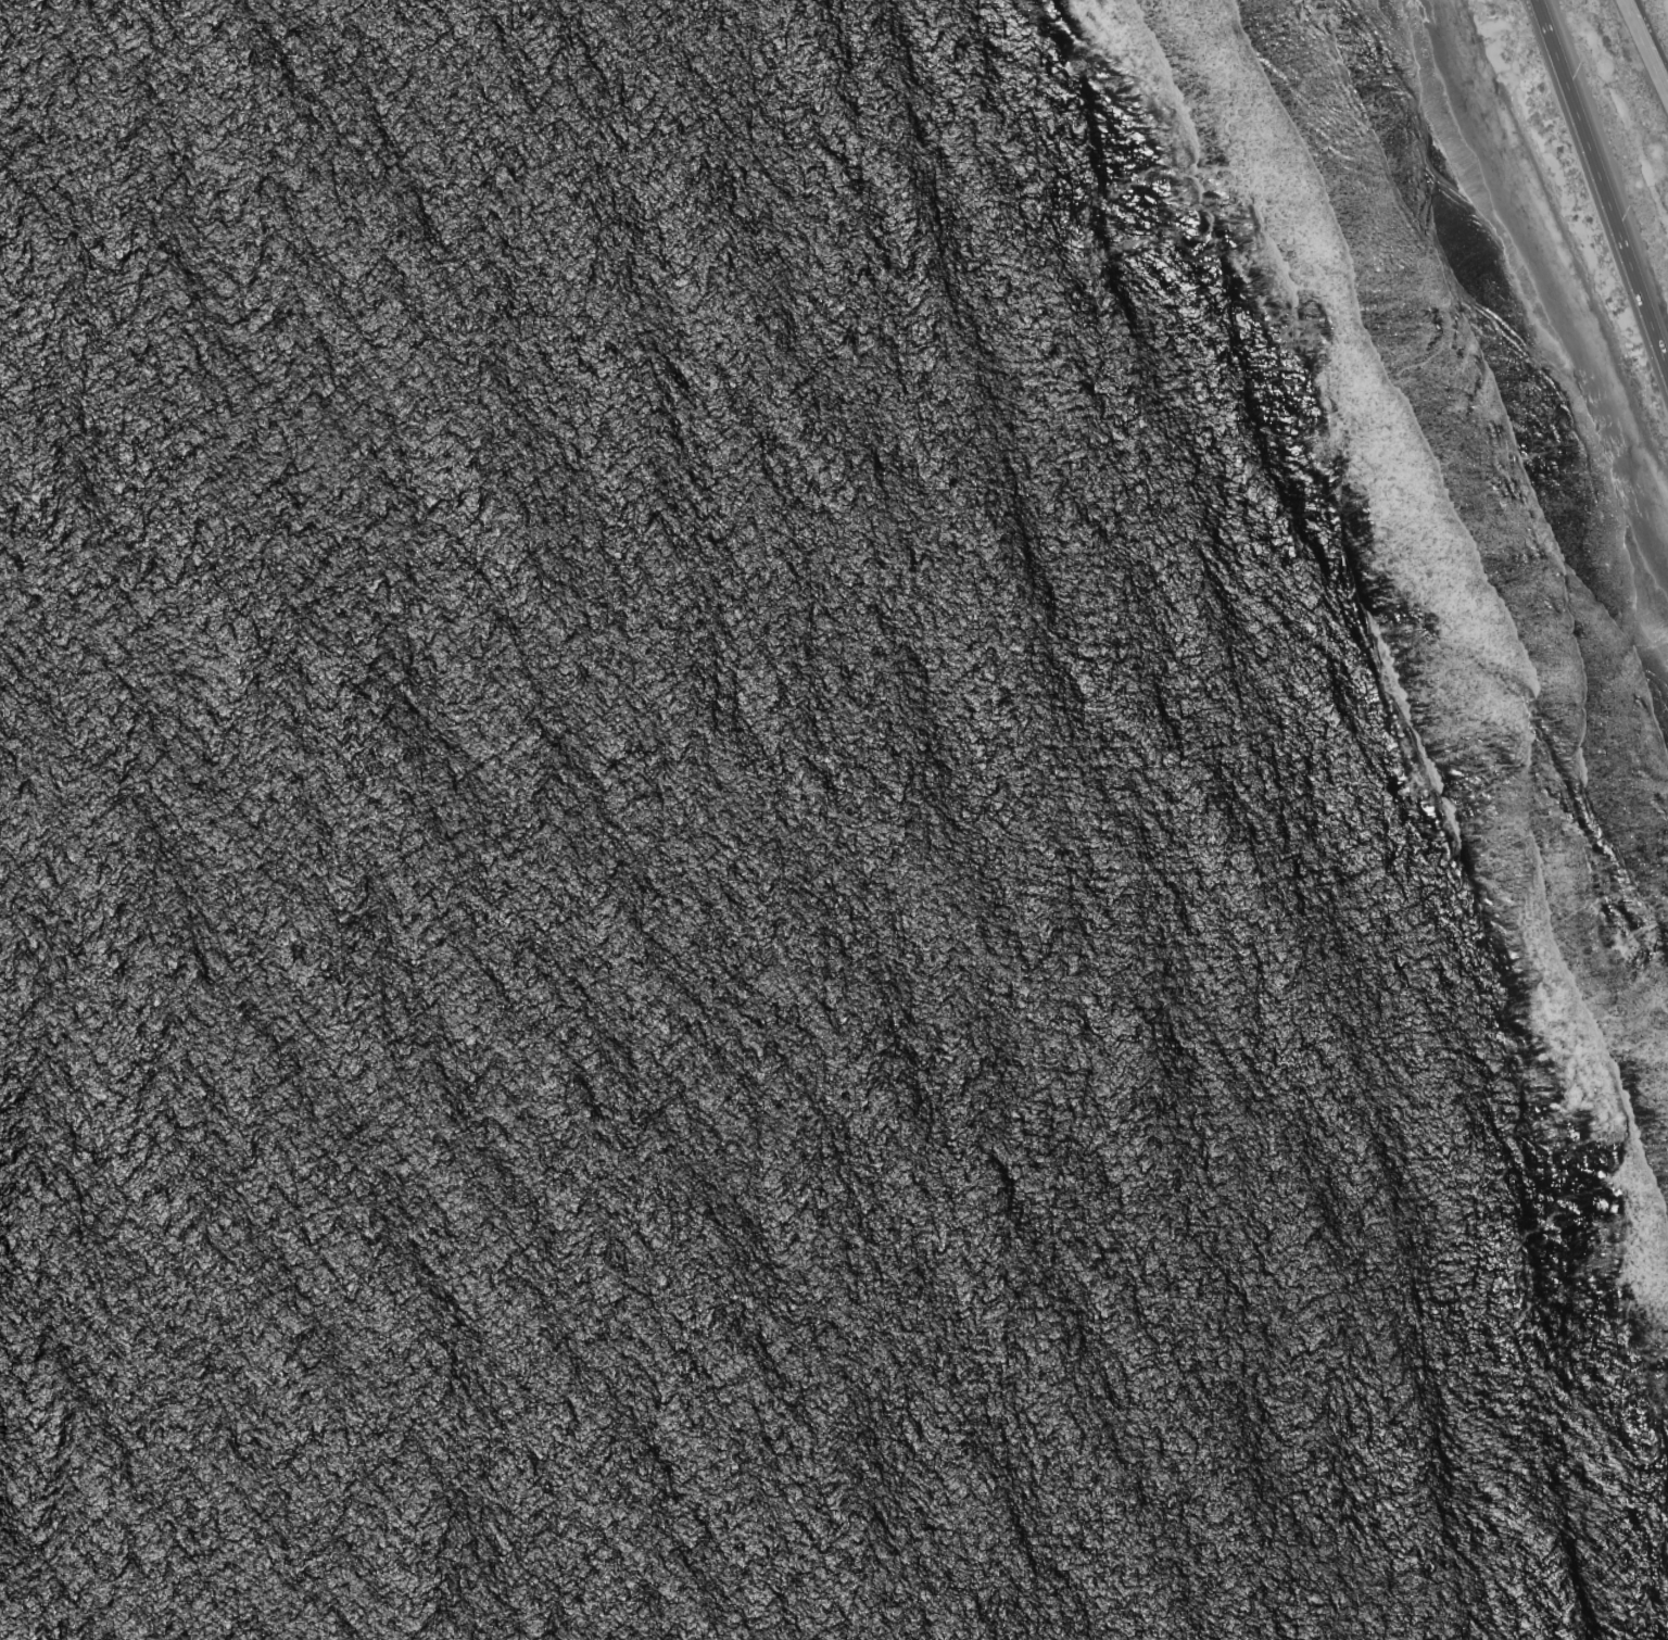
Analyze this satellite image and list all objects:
road: (1646, 46)
road: (1600, 188)

